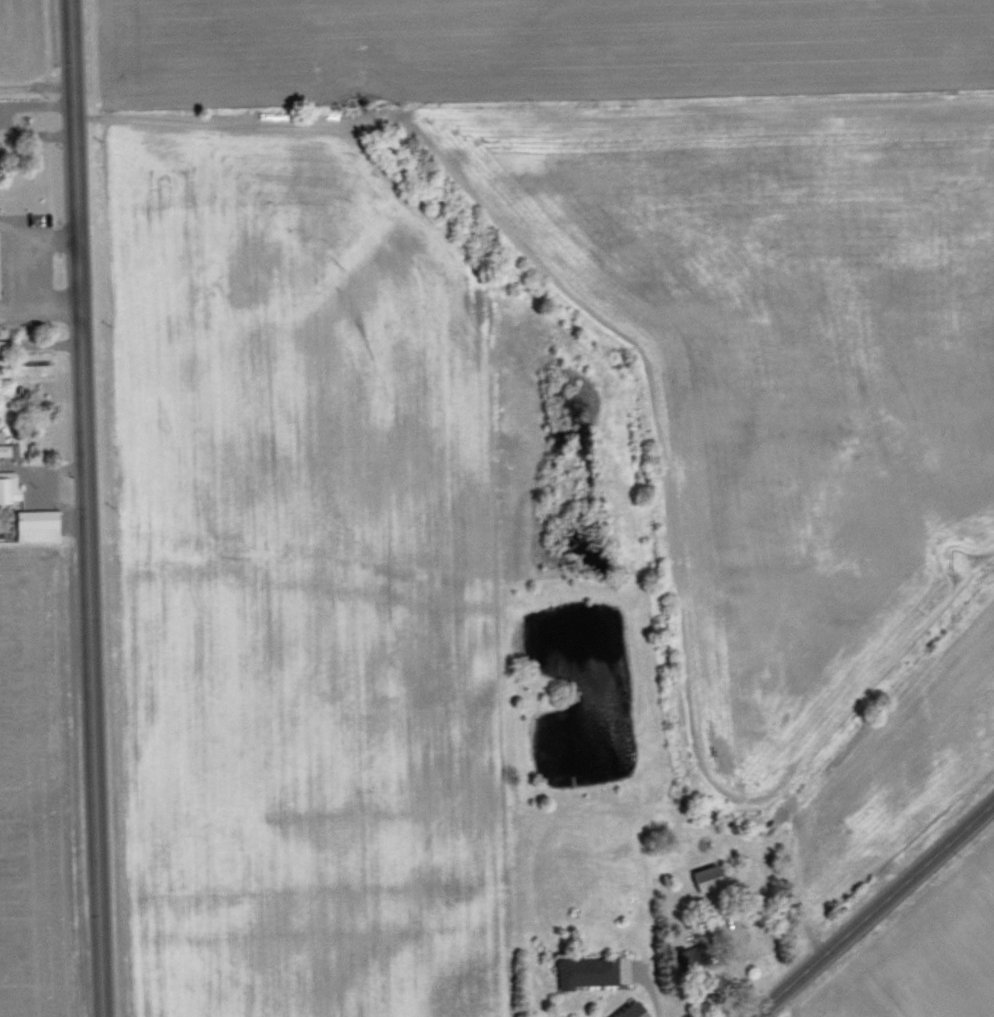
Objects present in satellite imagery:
building: (2, 346)
building: (7, 448)
building: (9, 487)
crop: (549, 505)
road: (88, 508)
building: (36, 525)
building: (706, 877)
road: (875, 910)
building: (586, 971)
road: (649, 986)
building: (630, 1010)

